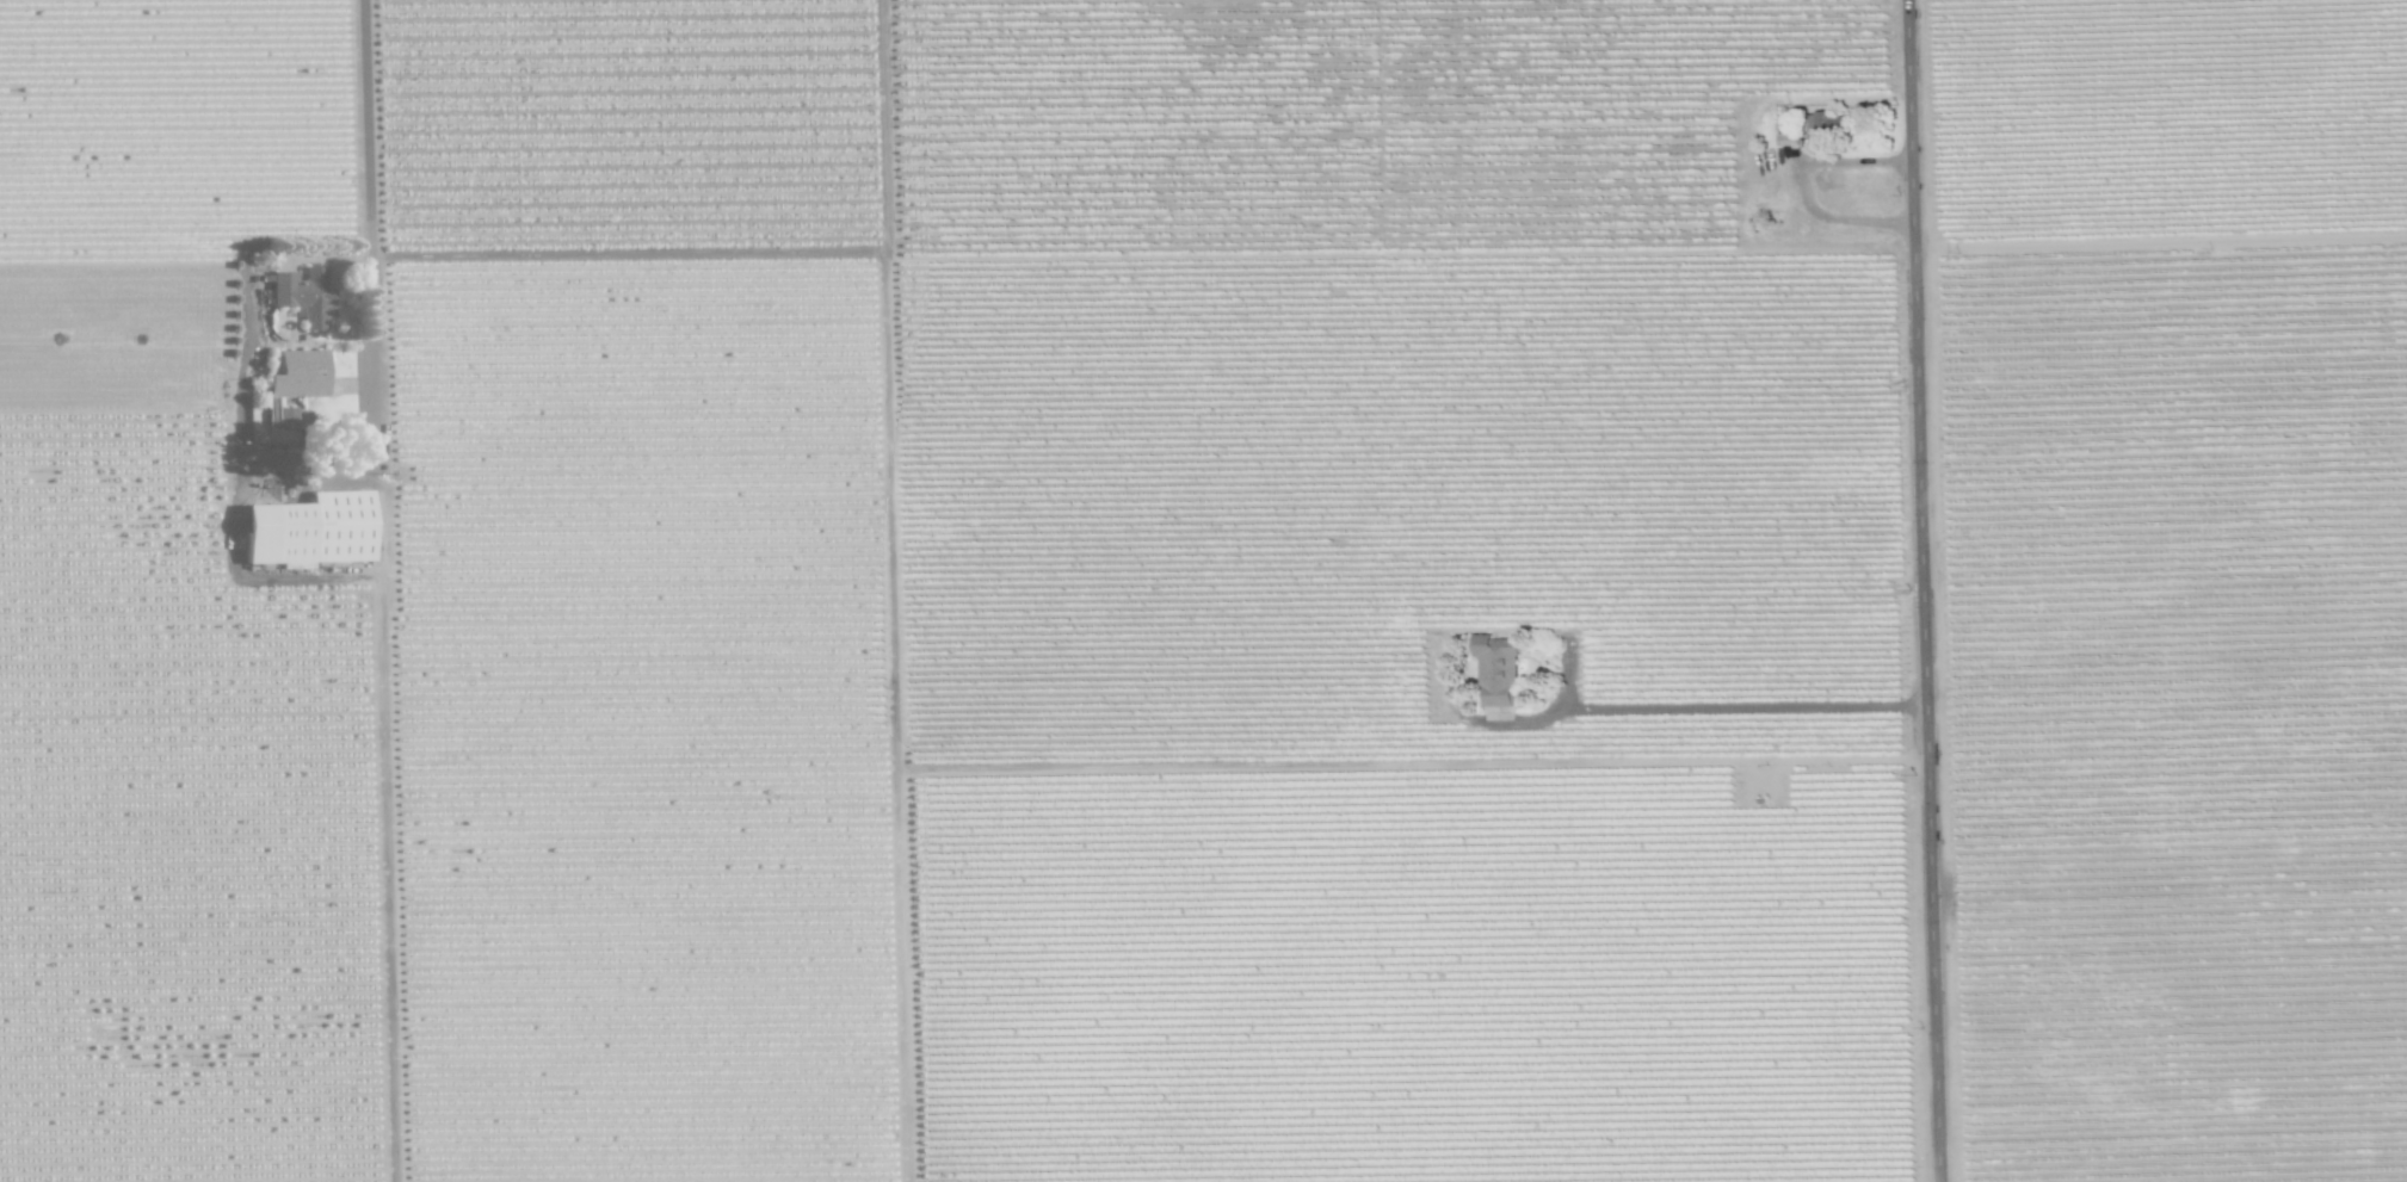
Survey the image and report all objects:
building: (1826, 123)
road: (1801, 187)
building: (304, 293)
building: (300, 373)
road: (309, 464)
road: (236, 494)
building: (309, 530)
road: (383, 590)
road: (1926, 590)
building: (1494, 670)
road: (1745, 704)
building: (1496, 712)

